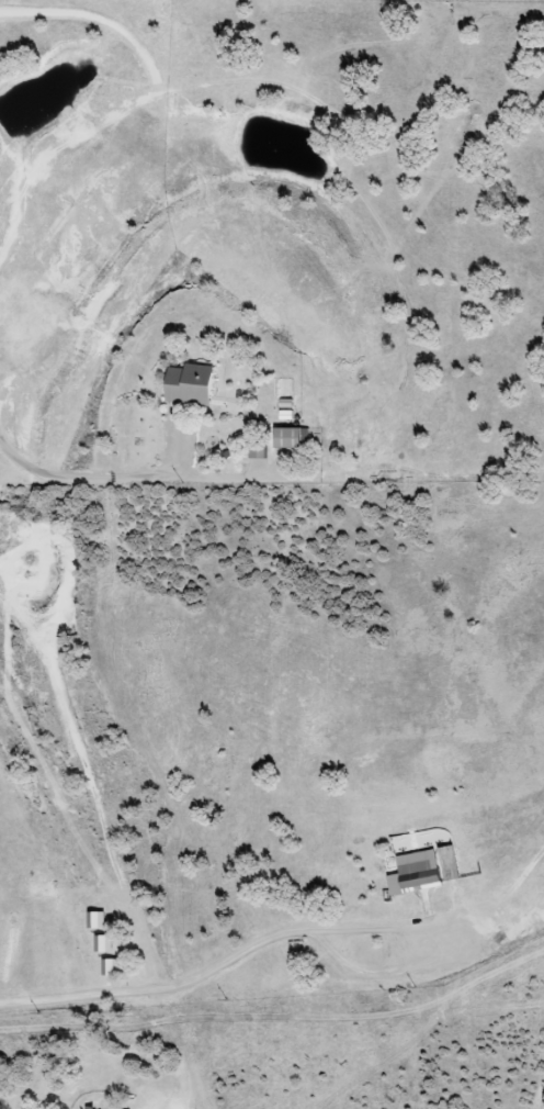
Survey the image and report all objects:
building: (182, 385)
building: (284, 438)
building: (252, 451)
road: (132, 478)
road: (82, 776)
road: (218, 968)

